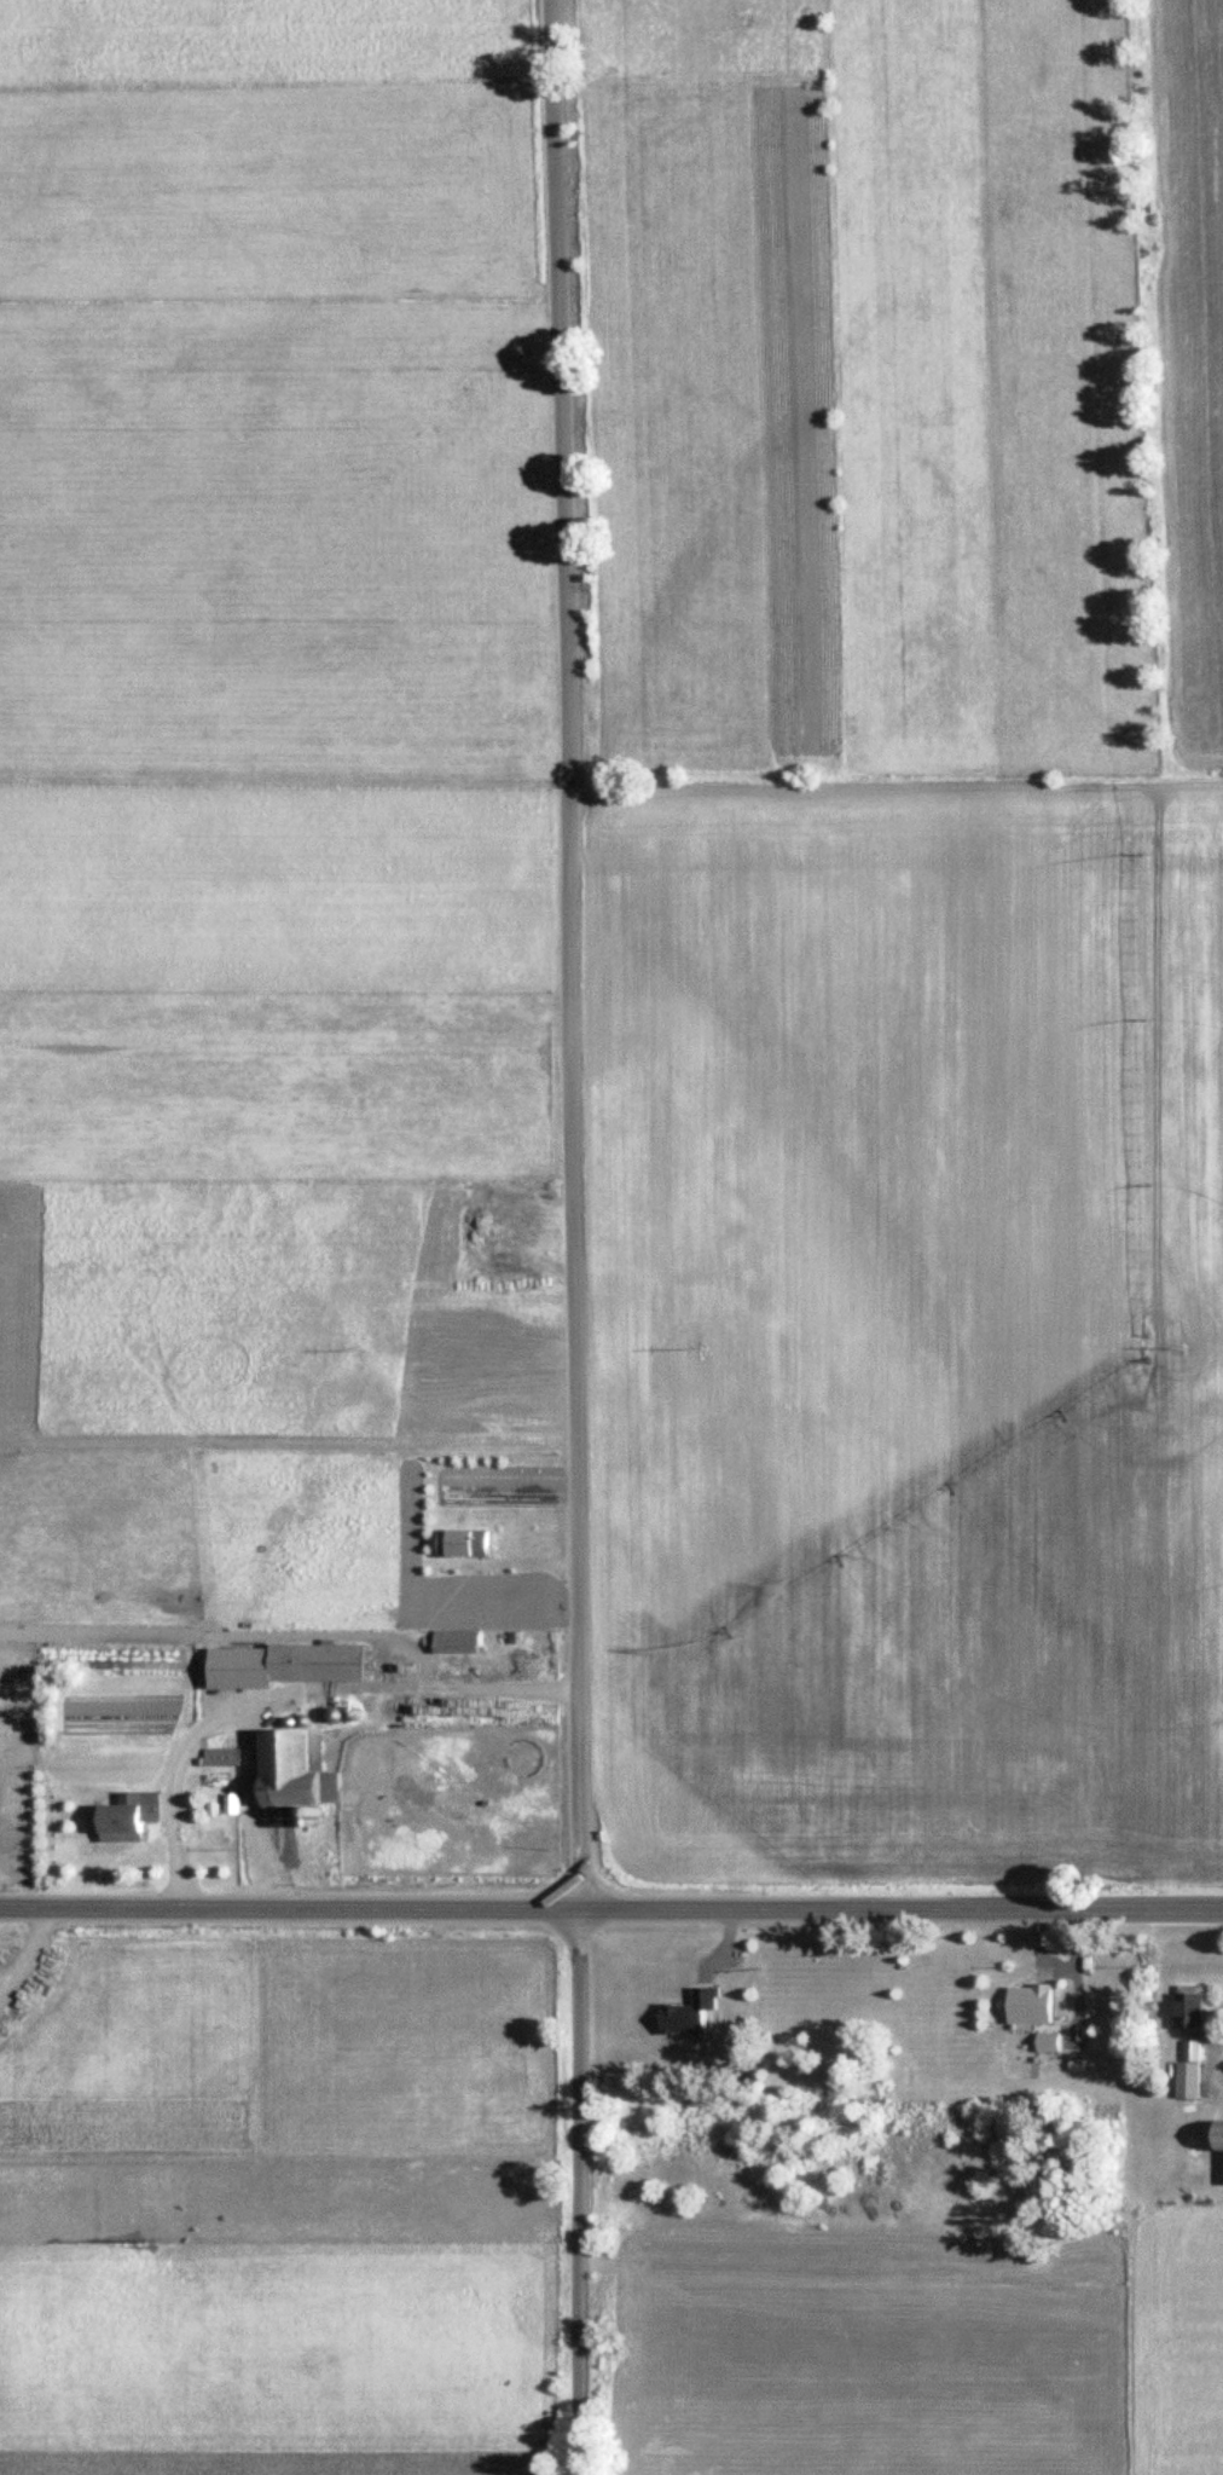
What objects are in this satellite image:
road: (569, 1237)
building: (459, 1543)
building: (291, 1666)
road: (218, 1711)
building: (219, 1757)
building: (289, 1770)
building: (123, 1817)
road: (610, 1902)
road: (30, 1951)
building: (671, 1996)
building: (1186, 2010)
building: (1027, 2022)
road: (1204, 2069)
building: (1186, 2071)
building: (1216, 2134)

